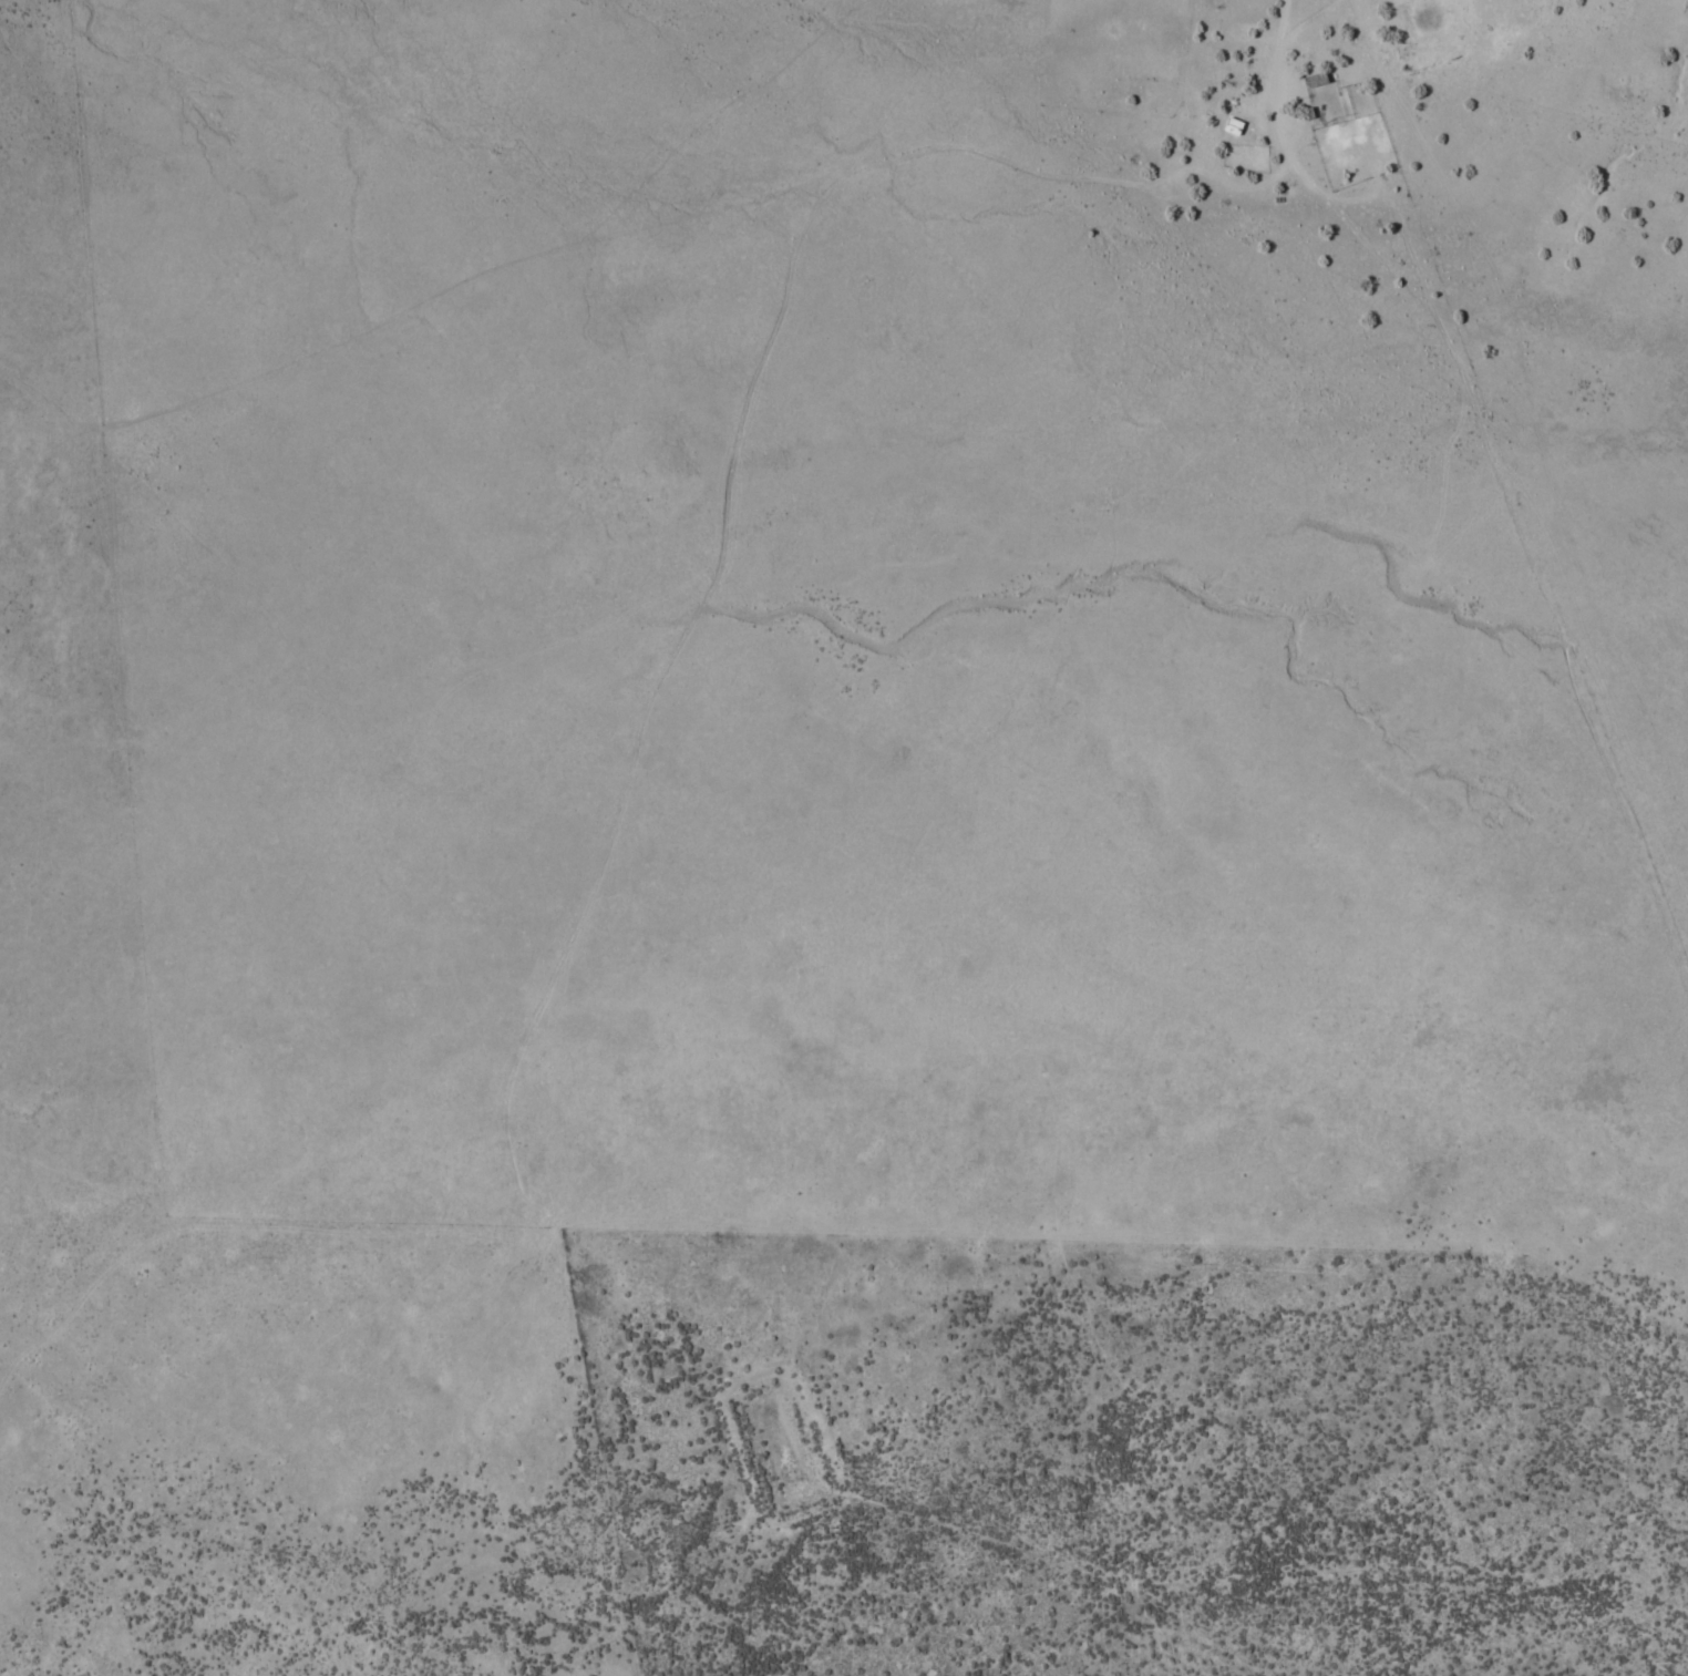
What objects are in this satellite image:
road: (1351, 25)

